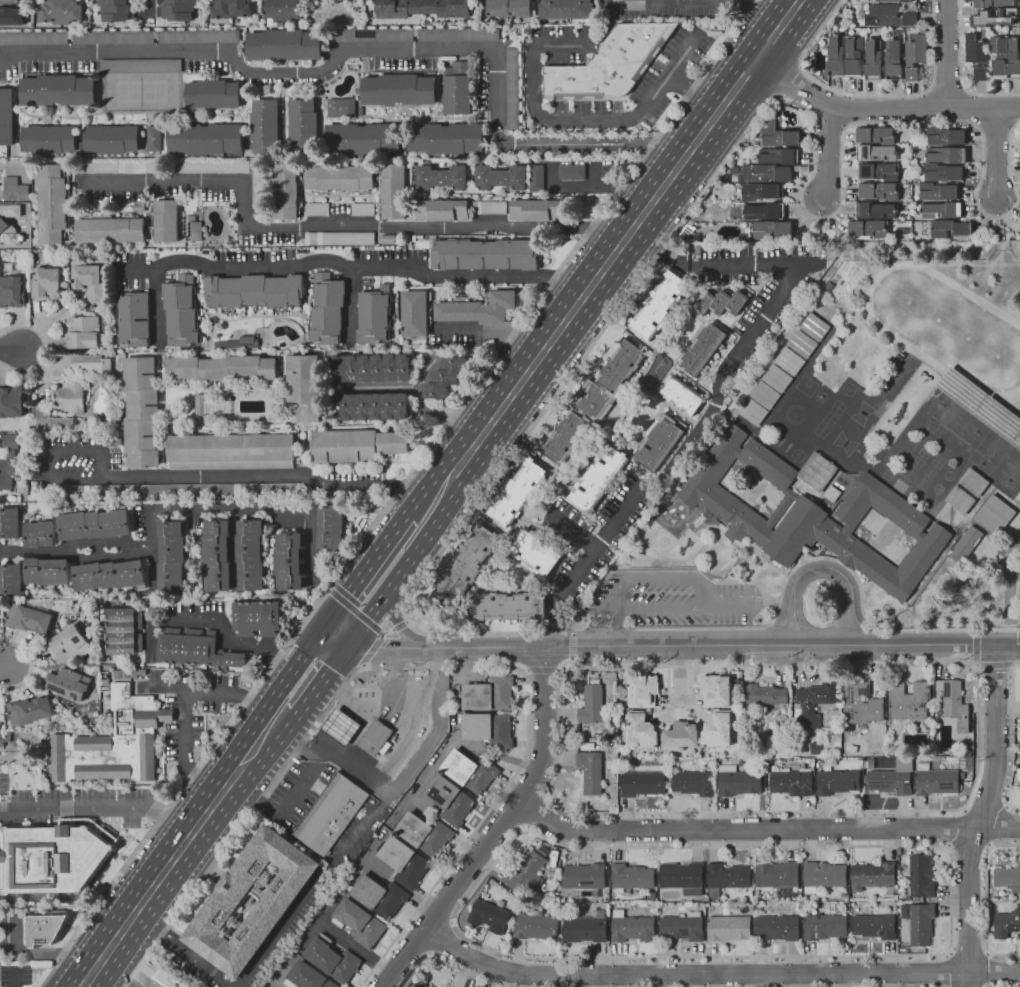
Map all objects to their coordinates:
building: (897, 0)
road: (702, 1)
building: (993, 3)
road: (145, 8)
building: (231, 8)
building: (282, 8)
building: (423, 8)
building: (509, 8)
building: (566, 8)
building: (178, 9)
building: (116, 10)
building: (60, 11)
building: (889, 16)
building: (995, 17)
building: (839, 24)
building: (342, 34)
building: (80, 36)
building: (197, 36)
building: (284, 45)
road: (374, 46)
building: (836, 54)
building: (893, 54)
road: (946, 54)
building: (853, 55)
building: (999, 55)
building: (914, 56)
building: (873, 57)
building: (976, 57)
building: (1013, 59)
building: (610, 63)
building: (139, 65)
road: (959, 73)
road: (789, 81)
building: (456, 86)
building: (510, 88)
building: (57, 89)
building: (399, 89)
road: (945, 90)
building: (212, 93)
road: (864, 93)
road: (689, 96)
building: (341, 106)
road: (881, 108)
building: (6, 115)
road: (833, 118)
road: (575, 121)
building: (302, 122)
road: (994, 123)
building: (265, 124)
building: (780, 135)
building: (875, 135)
building: (205, 136)
building: (446, 136)
building: (945, 136)
building: (48, 137)
building: (111, 137)
building: (152, 137)
building: (363, 138)
road: (828, 151)
building: (876, 153)
building: (946, 155)
road: (997, 155)
building: (777, 156)
building: (95, 166)
building: (570, 171)
road: (717, 171)
building: (879, 171)
building: (767, 173)
building: (943, 173)
building: (441, 176)
building: (501, 176)
building: (339, 177)
building: (536, 177)
road: (605, 186)
building: (13, 189)
building: (256, 190)
building: (285, 190)
building: (393, 190)
building: (760, 191)
building: (879, 191)
building: (938, 191)
building: (53, 202)
building: (489, 207)
building: (537, 208)
building: (314, 209)
building: (361, 209)
building: (441, 209)
building: (941, 210)
building: (763, 211)
building: (876, 211)
building: (166, 220)
road: (337, 226)
building: (950, 228)
building: (110, 229)
building: (772, 229)
building: (868, 230)
road: (998, 234)
building: (338, 238)
building: (694, 238)
building: (694, 250)
road: (616, 251)
road: (656, 253)
building: (485, 254)
road: (357, 270)
road: (787, 275)
building: (89, 279)
building: (47, 282)
building: (253, 290)
building: (11, 291)
building: (722, 302)
road: (157, 303)
road: (348, 304)
building: (658, 305)
building: (325, 306)
building: (179, 308)
building: (477, 308)
building: (414, 312)
building: (372, 315)
building: (135, 318)
building: (814, 327)
park: (948, 328)
road: (493, 330)
track: (882, 330)
building: (84, 331)
building: (801, 344)
road: (44, 347)
building: (702, 349)
road: (12, 350)
building: (789, 361)
building: (92, 363)
building: (221, 367)
building: (371, 367)
building: (446, 376)
building: (776, 378)
building: (304, 385)
road: (409, 393)
building: (70, 394)
building: (683, 395)
building: (764, 395)
building: (11, 401)
building: (594, 402)
building: (981, 404)
building: (199, 406)
building: (374, 406)
building: (141, 411)
building: (752, 412)
park: (957, 418)
building: (50, 419)
building: (659, 443)
building: (356, 444)
building: (231, 450)
park: (989, 450)
road: (47, 454)
building: (9, 460)
park: (1011, 470)
road: (271, 474)
building: (598, 479)
building: (203, 489)
building: (966, 491)
road: (395, 492)
building: (518, 493)
building: (832, 494)
road: (630, 499)
road: (184, 510)
building: (813, 513)
building: (995, 515)
building: (94, 522)
building: (10, 523)
building: (330, 526)
road: (572, 530)
building: (39, 533)
building: (965, 545)
building: (536, 551)
building: (252, 554)
building: (217, 555)
road: (374, 555)
building: (170, 556)
road: (816, 558)
building: (289, 560)
building: (466, 565)
road: (821, 569)
building: (47, 571)
building: (108, 573)
road: (399, 575)
road: (659, 577)
building: (11, 579)
road: (328, 589)
parking lot: (674, 598)
building: (510, 606)
road: (731, 607)
road: (659, 609)
building: (256, 617)
building: (28, 619)
road: (365, 620)
traffic signals: (326, 621)
road: (406, 621)
road: (218, 622)
road: (400, 625)
road: (609, 627)
building: (124, 630)
road: (339, 631)
traffic signals: (352, 641)
building: (69, 642)
road: (685, 645)
road: (976, 646)
building: (194, 647)
road: (371, 648)
road: (562, 649)
road: (31, 663)
road: (996, 664)
road: (362, 667)
road: (7, 668)
road: (291, 668)
road: (430, 668)
road: (543, 669)
road: (678, 671)
road: (977, 678)
building: (68, 683)
road: (318, 687)
building: (715, 690)
building: (643, 691)
building: (489, 694)
building: (765, 695)
building: (907, 701)
building: (814, 702)
building: (591, 703)
road: (184, 704)
building: (860, 704)
building: (954, 704)
building: (1019, 705)
building: (29, 710)
gas station: (340, 726)
building: (341, 727)
building: (488, 729)
building: (640, 730)
building: (718, 730)
building: (376, 737)
building: (679, 737)
building: (394, 738)
road: (1013, 739)
building: (112, 743)
building: (386, 748)
building: (814, 748)
building: (852, 749)
building: (706, 764)
building: (871, 765)
building: (471, 771)
building: (591, 771)
building: (935, 780)
building: (737, 781)
building: (889, 781)
road: (399, 782)
building: (642, 782)
building: (792, 782)
building: (836, 782)
building: (692, 783)
building: (449, 799)
road: (286, 803)
road: (100, 805)
road: (532, 811)
building: (330, 814)
road: (980, 815)
road: (111, 822)
road: (499, 829)
road: (765, 829)
building: (426, 833)
building: (545, 850)
road: (179, 854)
building: (50, 858)
building: (555, 859)
building: (404, 862)
building: (527, 872)
building: (496, 876)
building: (584, 876)
building: (633, 876)
building: (823, 876)
building: (872, 876)
building: (921, 876)
building: (683, 877)
building: (728, 877)
building: (780, 878)
building: (1008, 878)
road: (405, 889)
road: (315, 890)
building: (888, 892)
building: (380, 896)
road: (986, 901)
building: (654, 905)
building: (759, 908)
building: (271, 910)
building: (491, 913)
building: (359, 922)
building: (920, 923)
building: (1007, 923)
building: (536, 926)
building: (684, 926)
building: (825, 926)
building: (874, 926)
building: (730, 927)
building: (778, 927)
building: (632, 928)
building: (40, 929)
building: (586, 929)
road: (441, 938)
road: (358, 948)
road: (185, 952)
road: (968, 952)
road: (906, 955)
building: (333, 959)
road: (447, 964)
road: (949, 969)
road: (987, 970)
parking lot: (15, 974)
road: (716, 975)
road: (15, 977)
building: (308, 977)
building: (168, 978)
building: (423, 985)
road: (89, 986)
road: (277, 986)
building: (447, 986)

